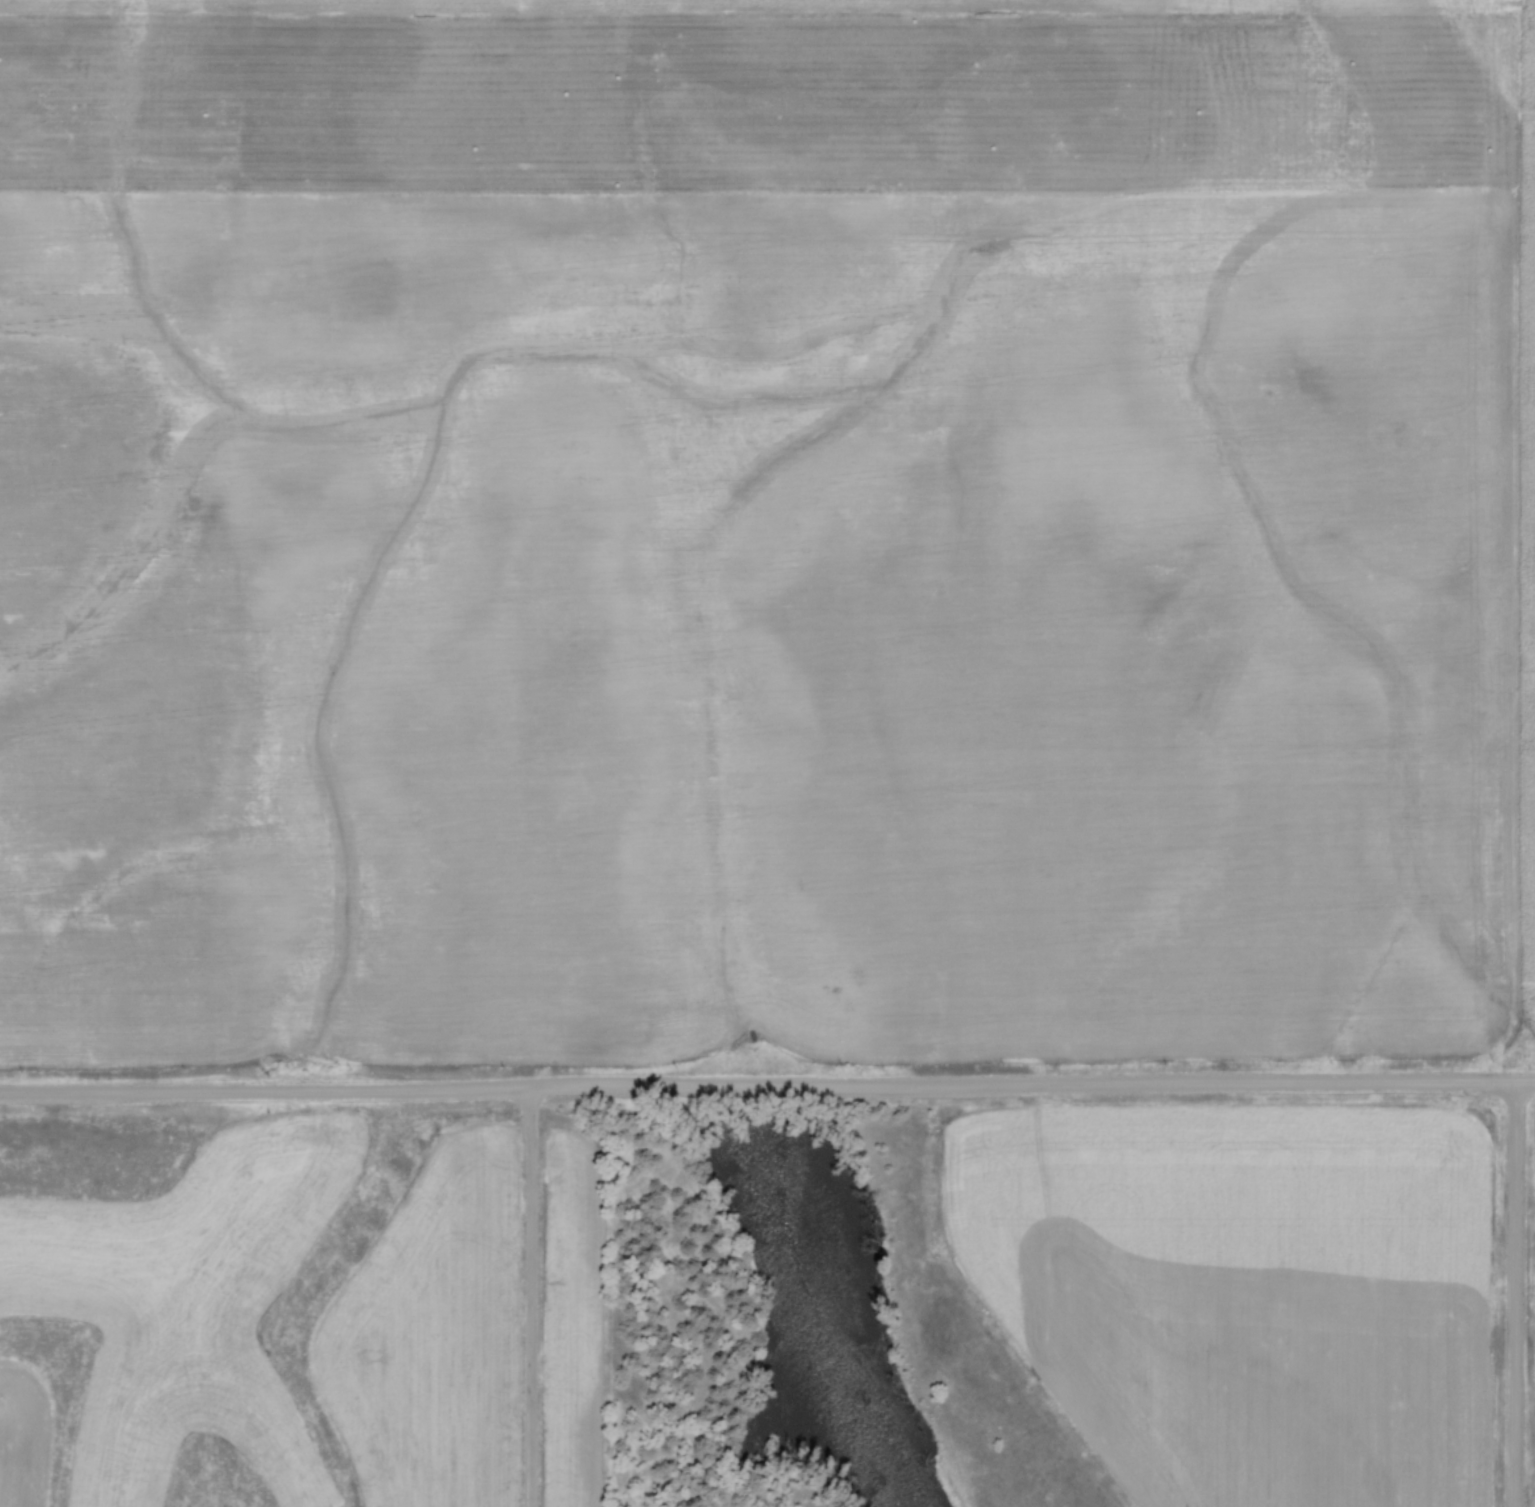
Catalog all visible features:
road: (767, 1087)
road: (1517, 1294)
road: (533, 1298)

